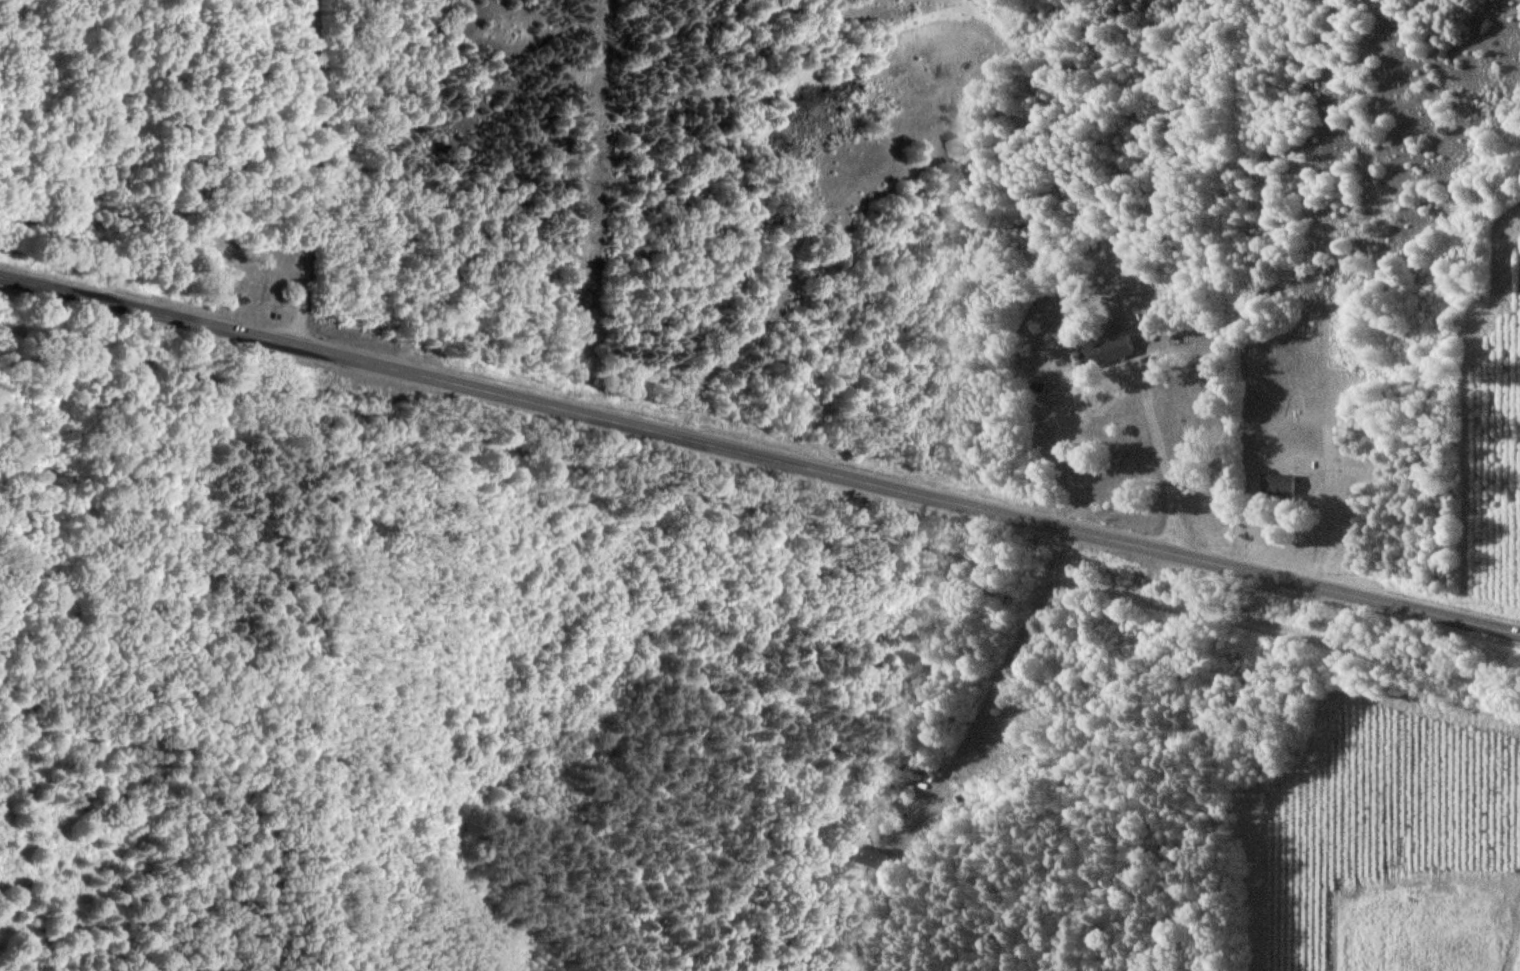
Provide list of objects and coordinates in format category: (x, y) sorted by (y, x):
road: (315, 172)
building: (1110, 351)
road: (759, 453)
road: (1160, 465)
building: (1281, 484)
road: (760, 508)
road: (991, 689)
building: (1012, 745)
building: (870, 857)

